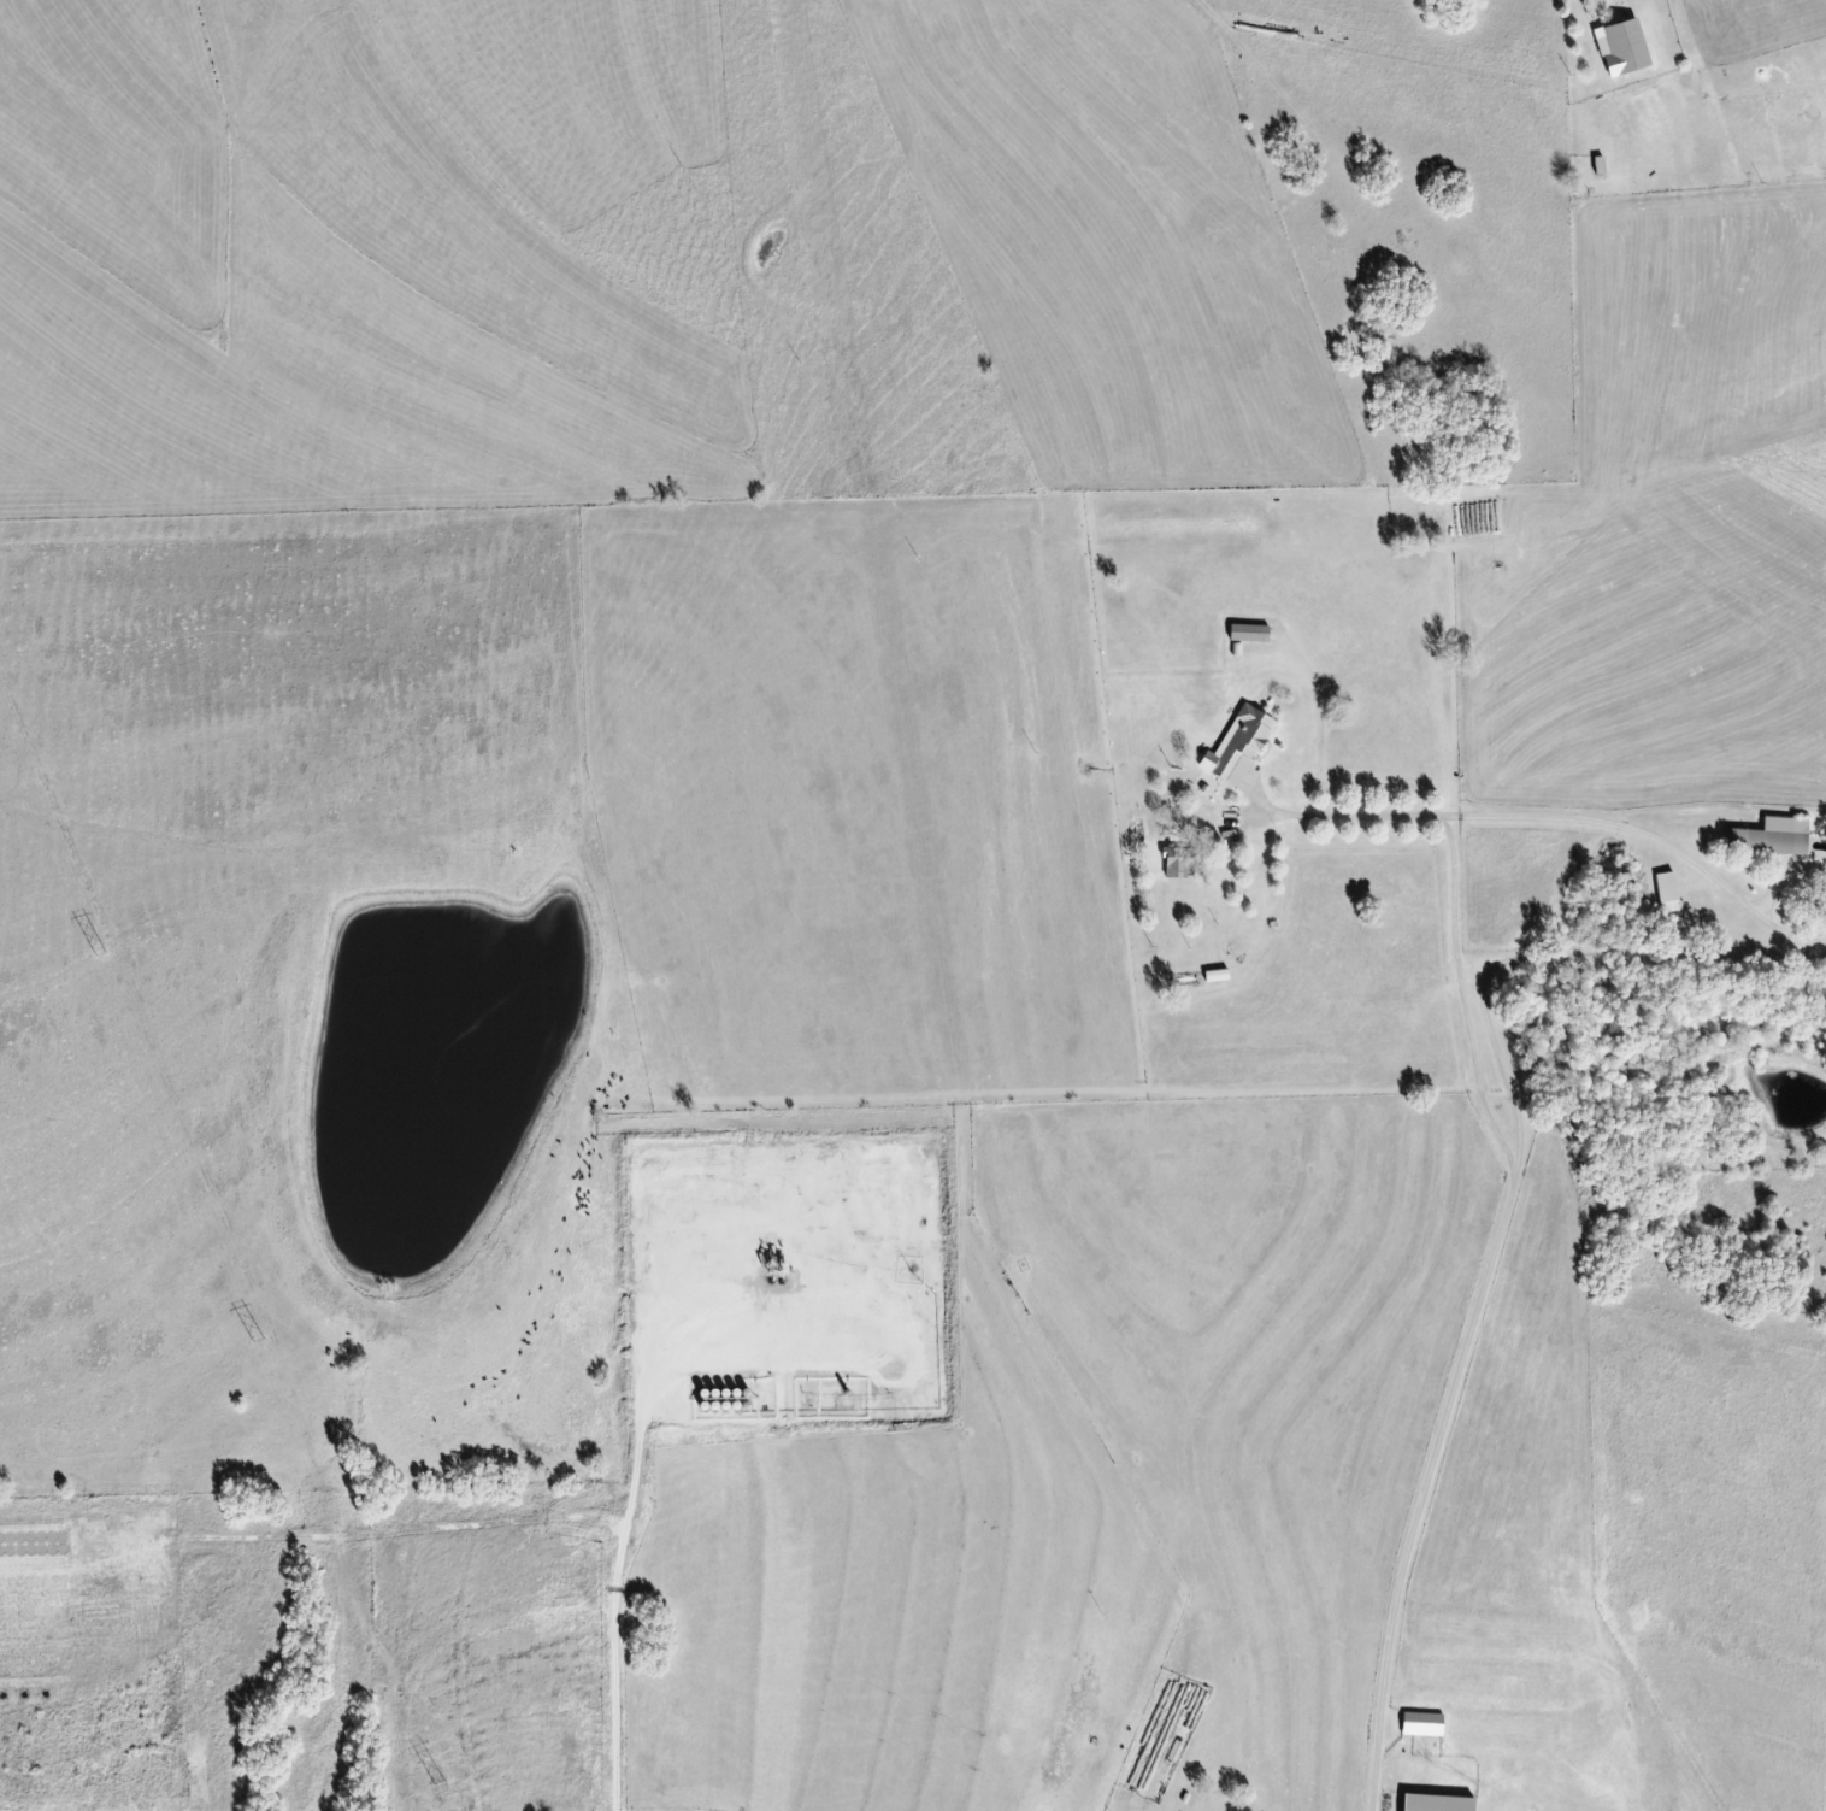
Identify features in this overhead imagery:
building: (1624, 48)
building: (1238, 746)
road: (1549, 816)
building: (1772, 836)
building: (1178, 863)
building: (1667, 892)
power tower: (99, 957)
building: (1217, 975)
road: (1496, 1222)
power tower: (260, 1343)
building: (1422, 1724)
power tower: (436, 1784)
building: (1438, 1803)

